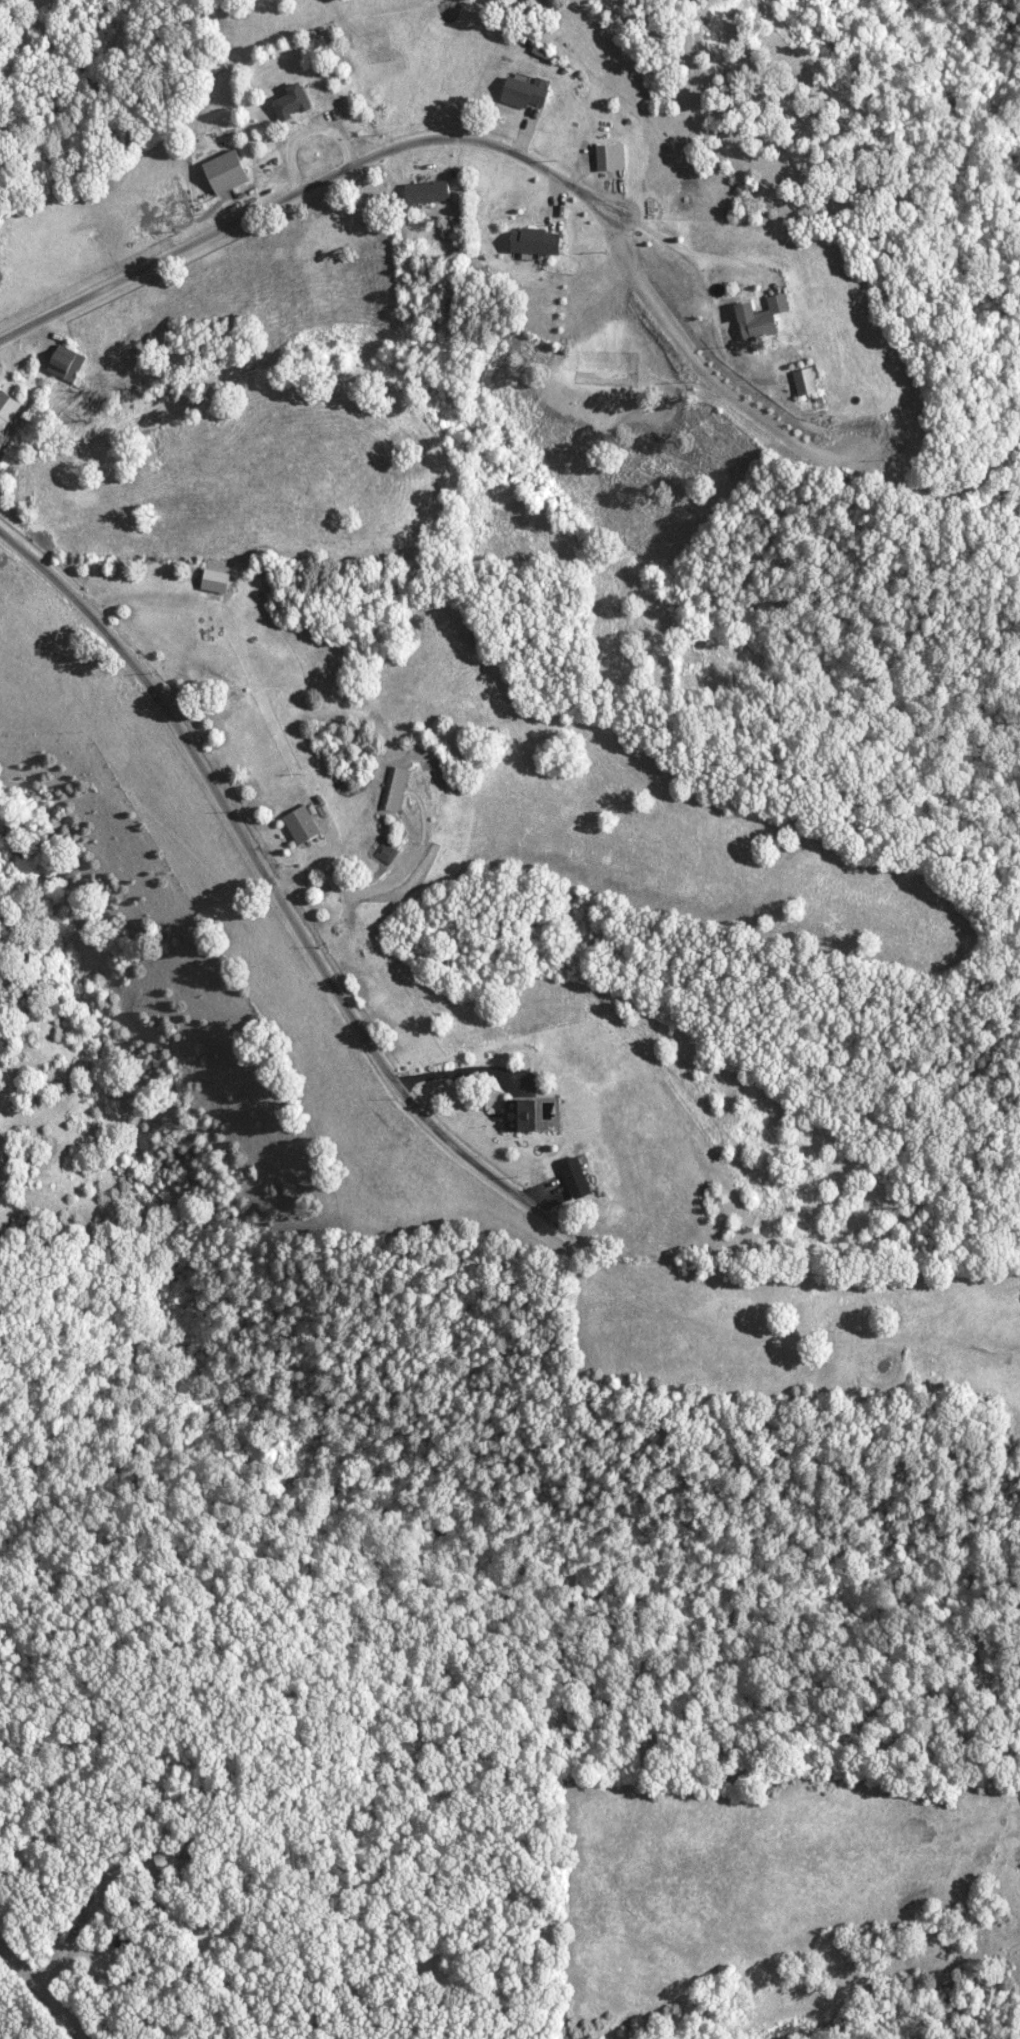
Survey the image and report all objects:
building: (528, 91)
building: (294, 102)
building: (612, 157)
building: (228, 171)
road: (302, 191)
building: (430, 192)
building: (539, 241)
building: (763, 317)
building: (67, 362)
road: (701, 366)
building: (806, 381)
building: (7, 415)
building: (218, 579)
building: (395, 789)
building: (303, 824)
building: (386, 852)
road: (271, 885)
building: (526, 1113)
building: (577, 1177)
building: (168, 1860)

